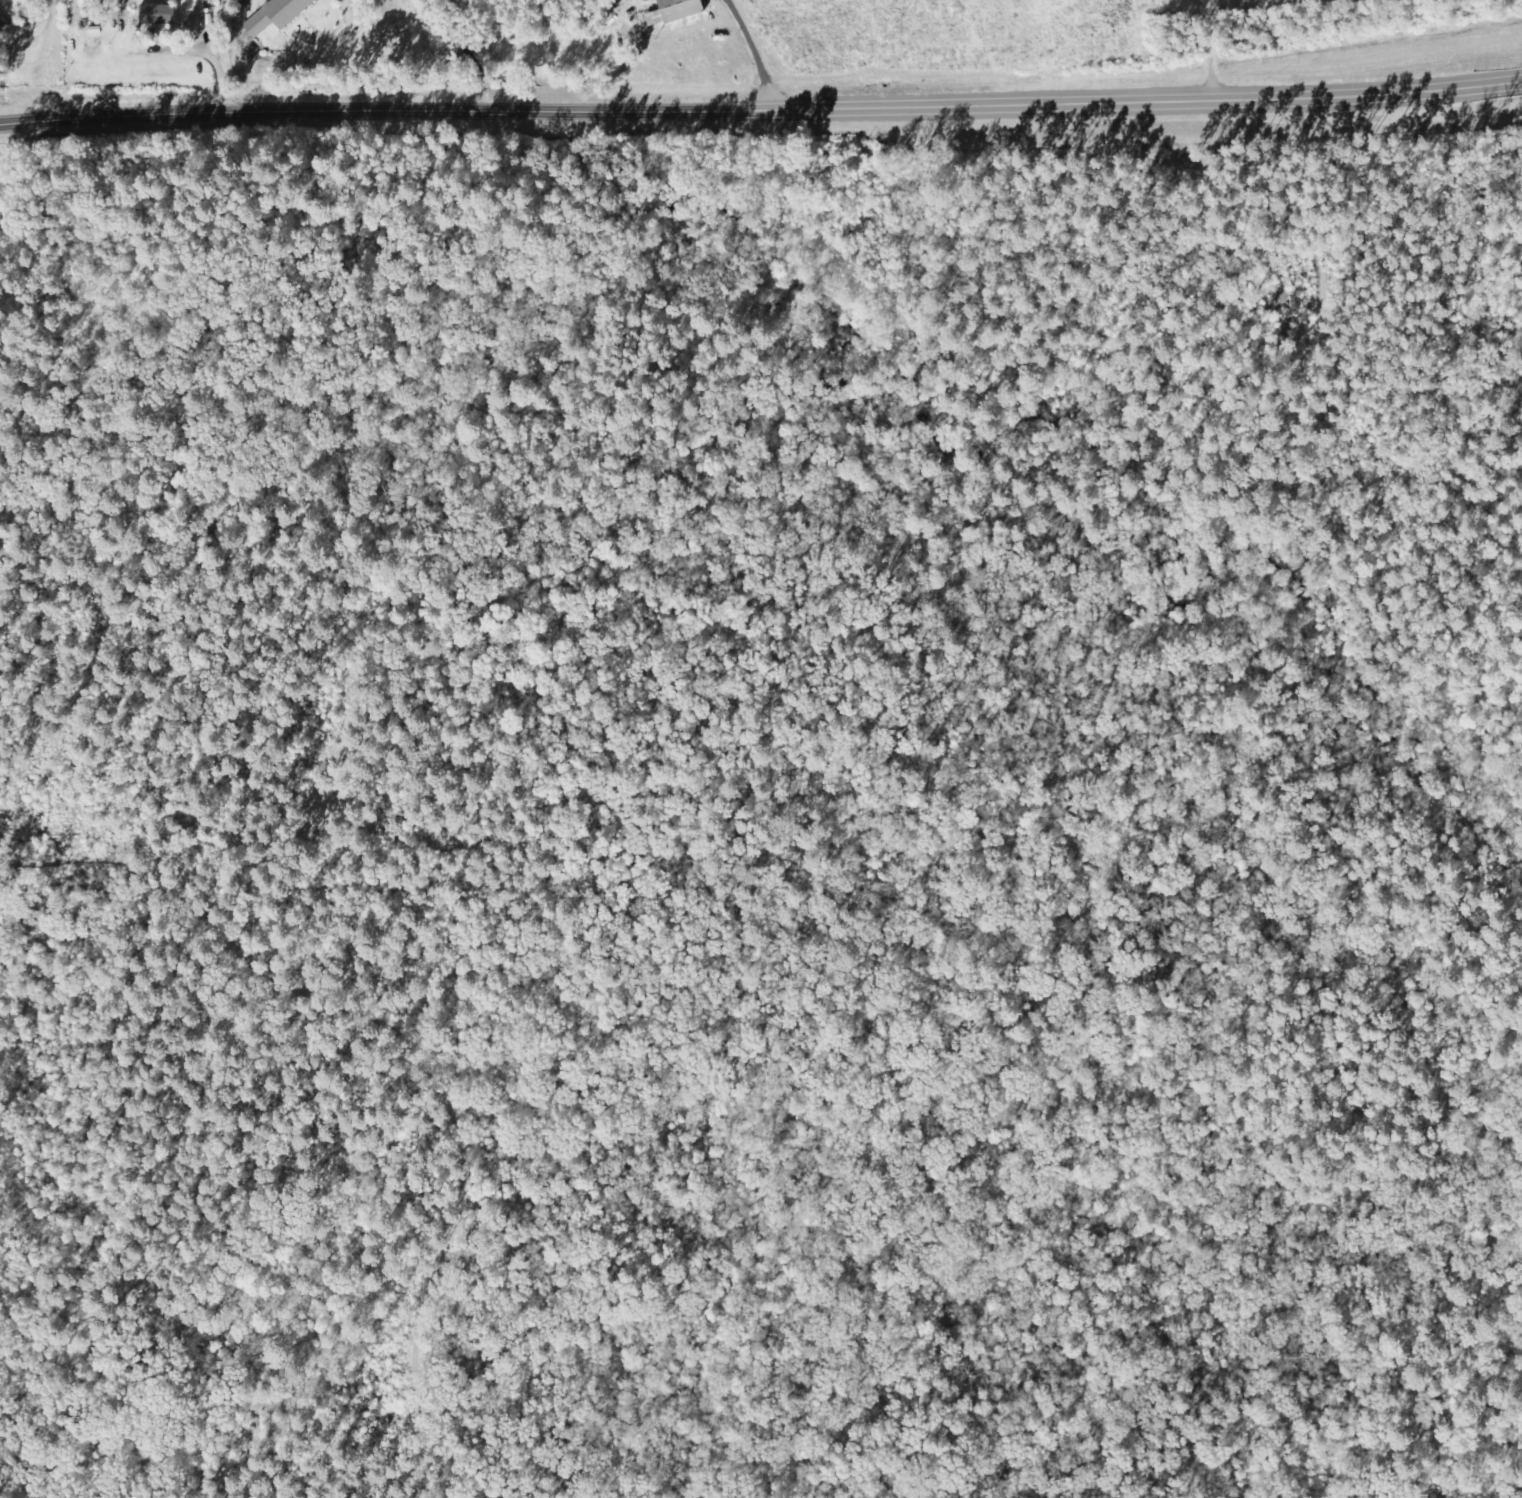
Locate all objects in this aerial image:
building: (675, 12)
building: (158, 15)
building: (277, 15)
road: (1210, 39)
road: (253, 53)
road: (731, 57)
road: (762, 113)

